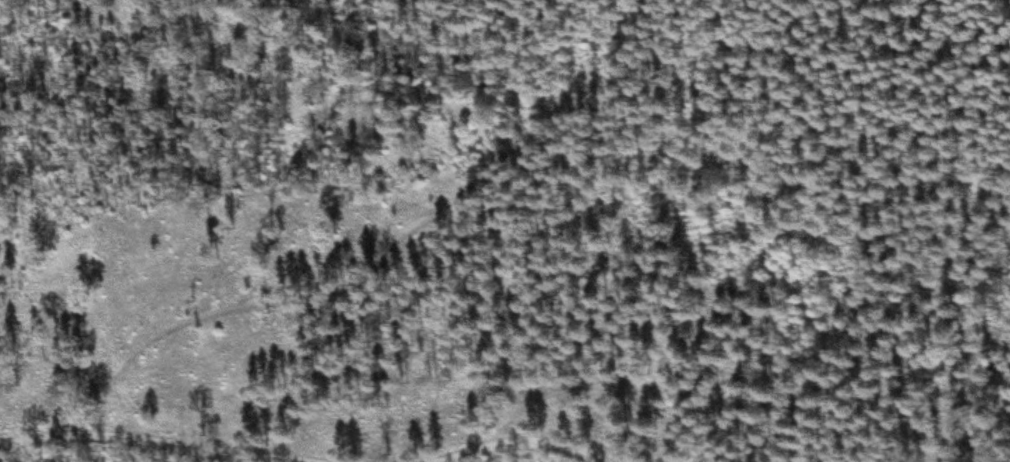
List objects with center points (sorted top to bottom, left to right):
road: (384, 245)
road: (132, 437)
road: (553, 443)

